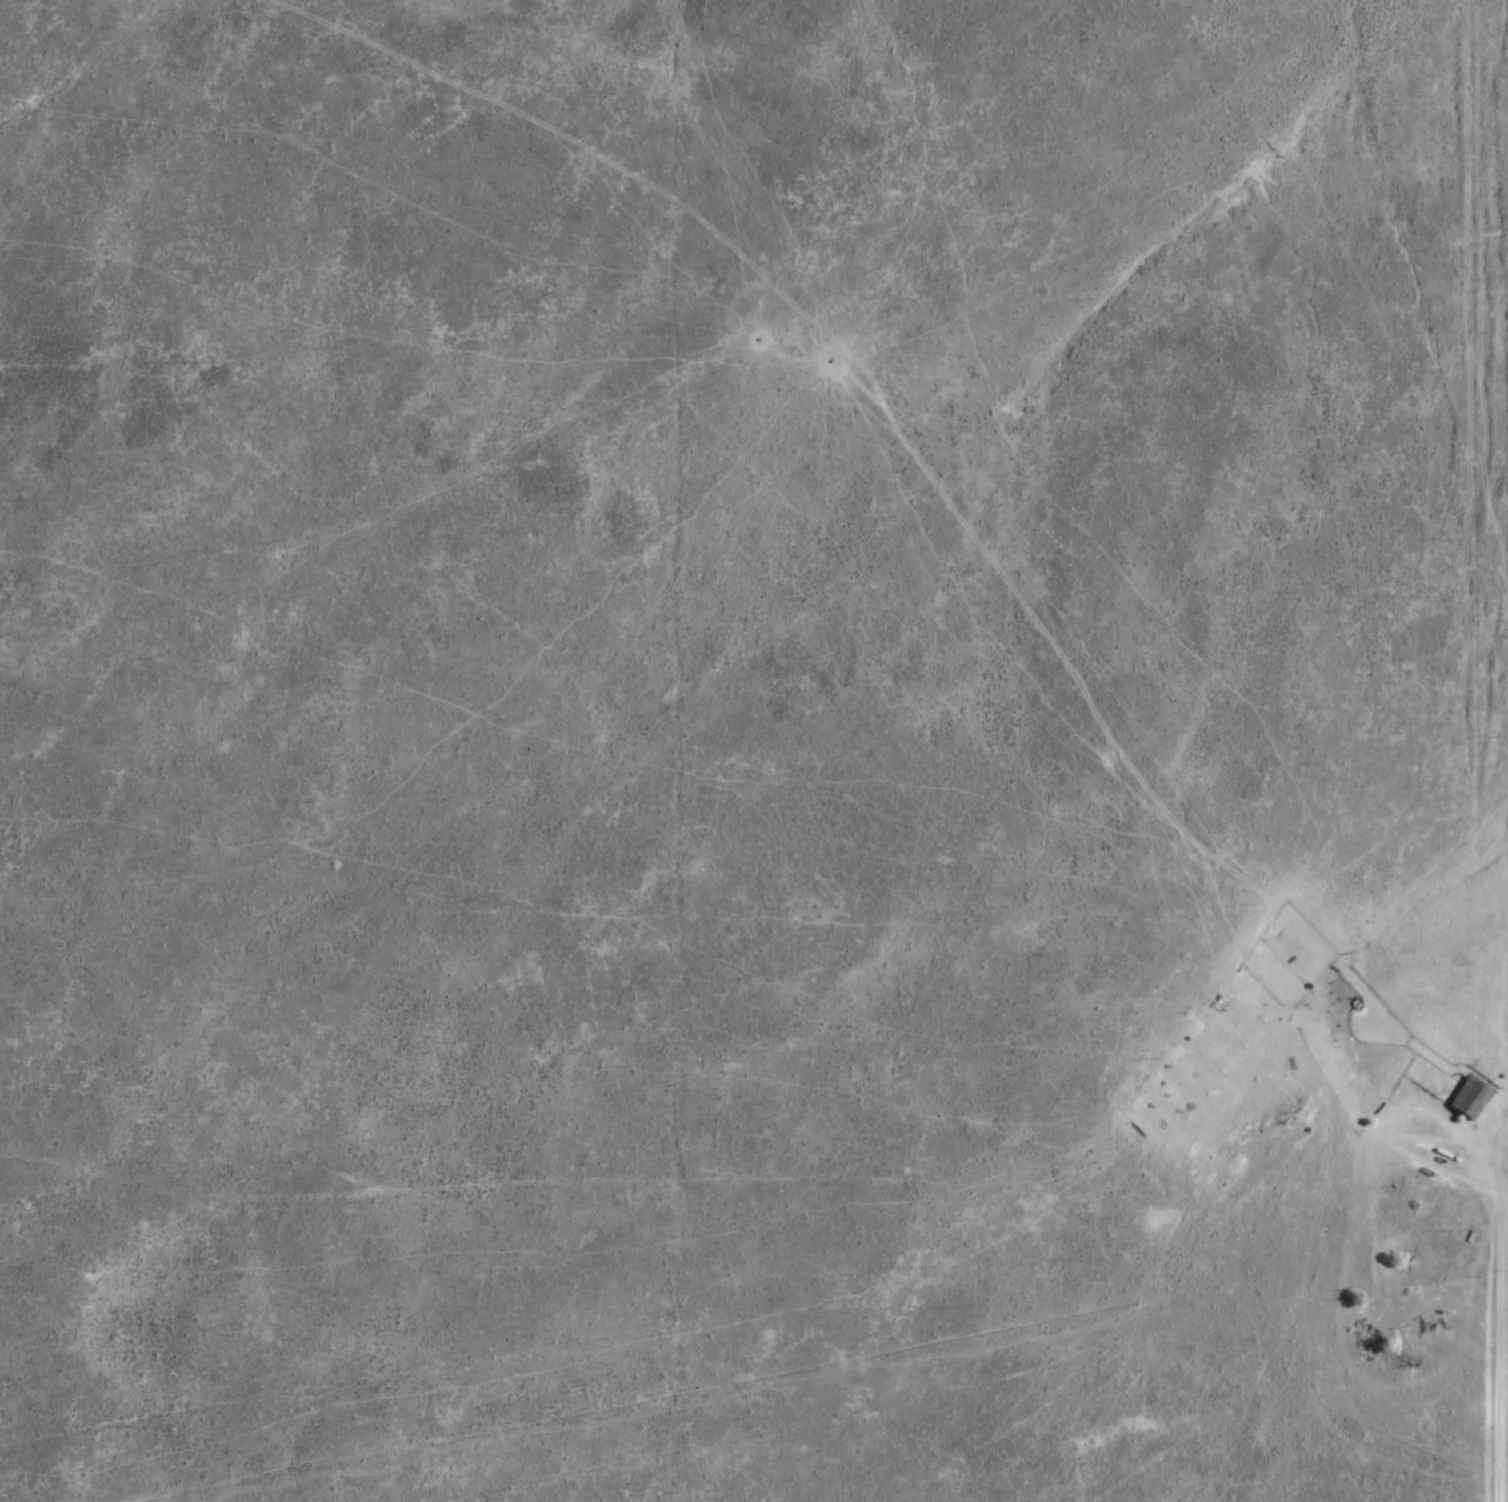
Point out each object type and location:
road: (1496, 1289)

